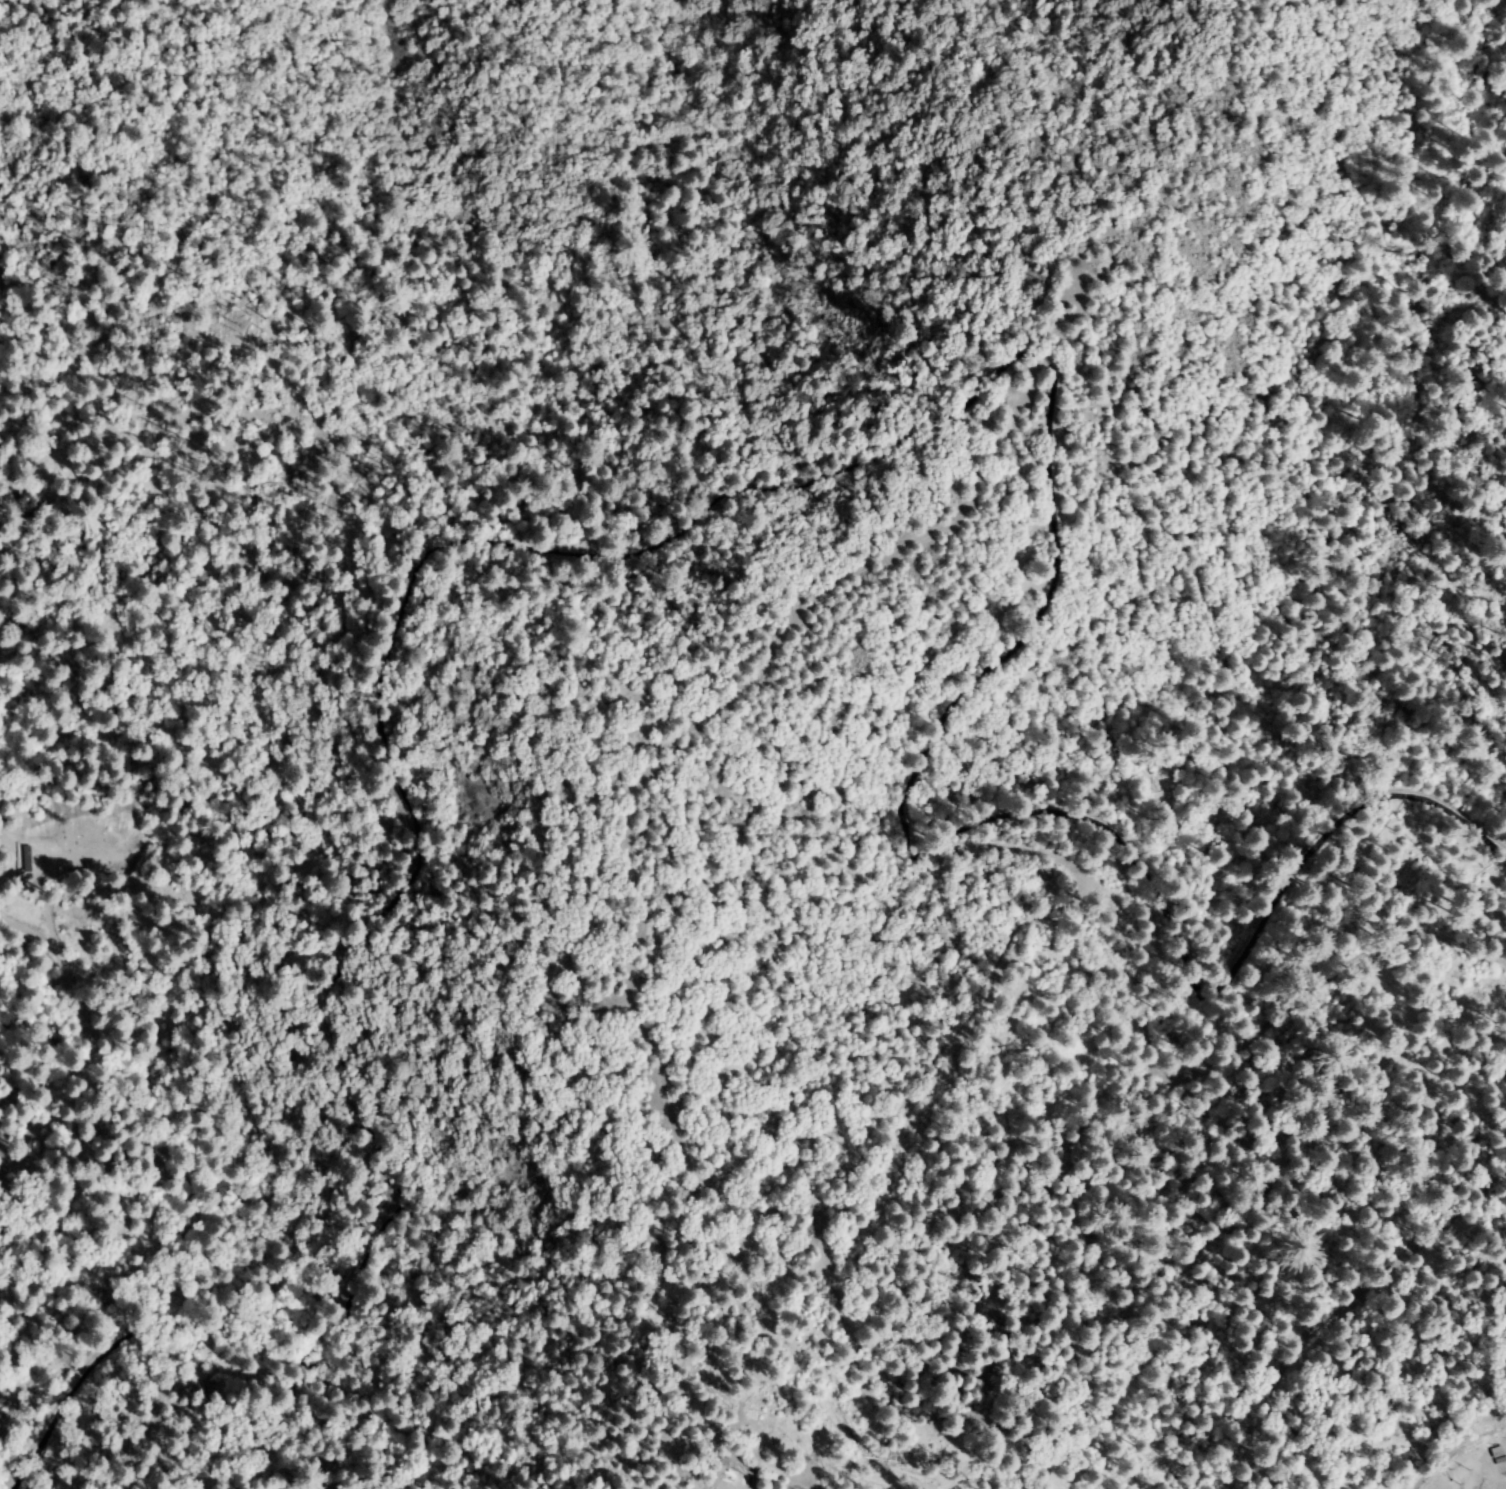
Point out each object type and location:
road: (1332, 1301)

